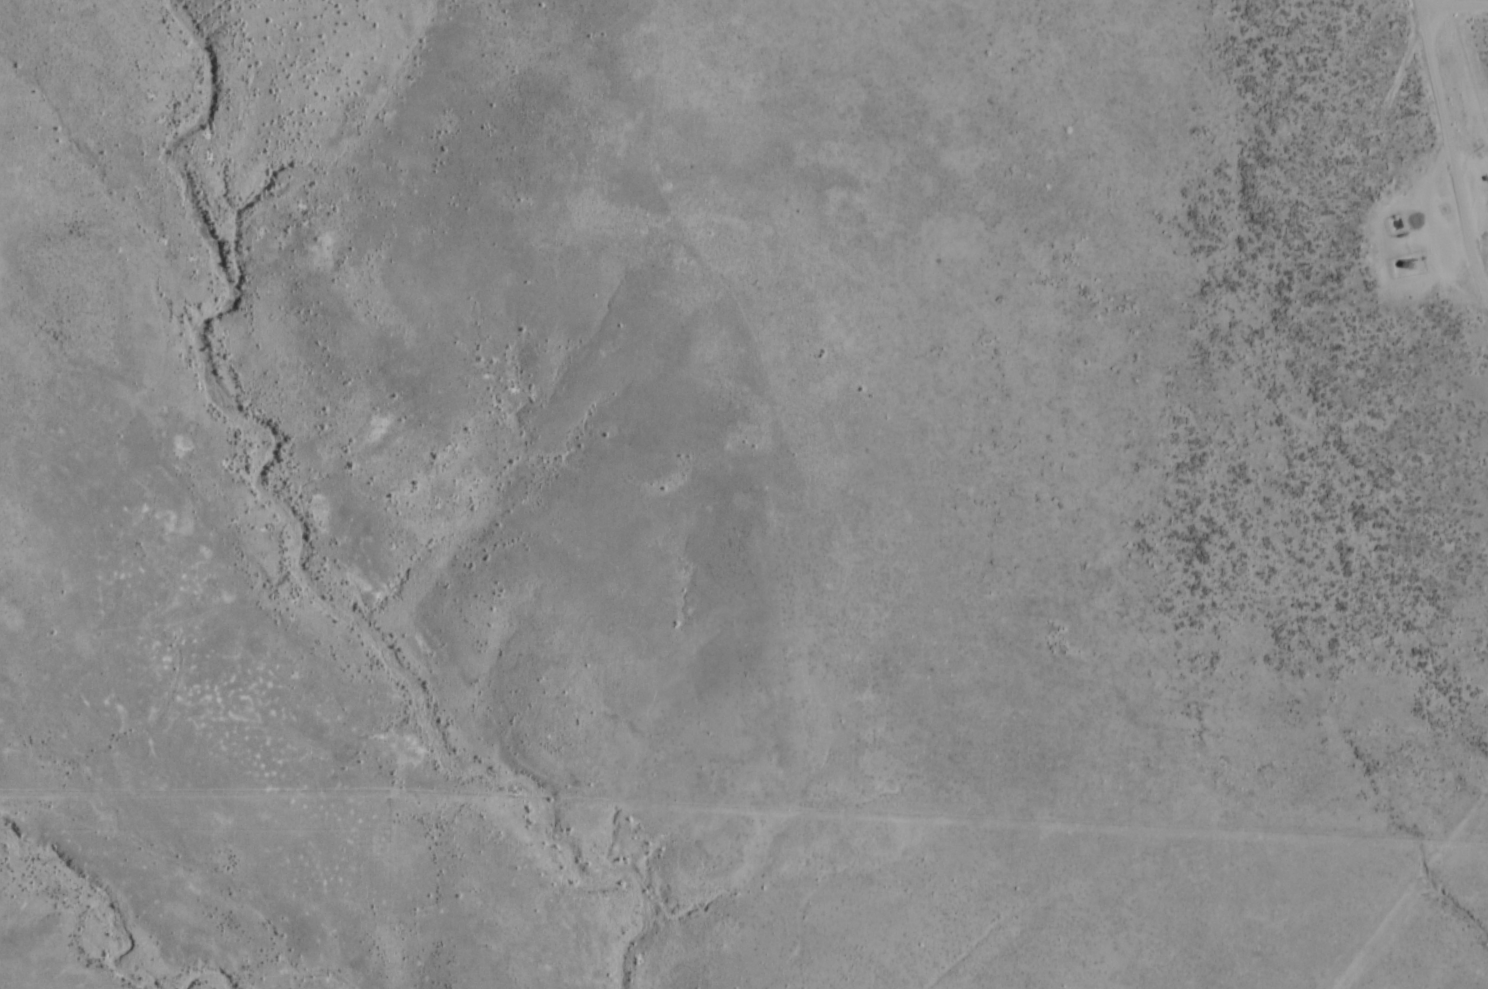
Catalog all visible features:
road: (1384, 209)
building: (1487, 526)

